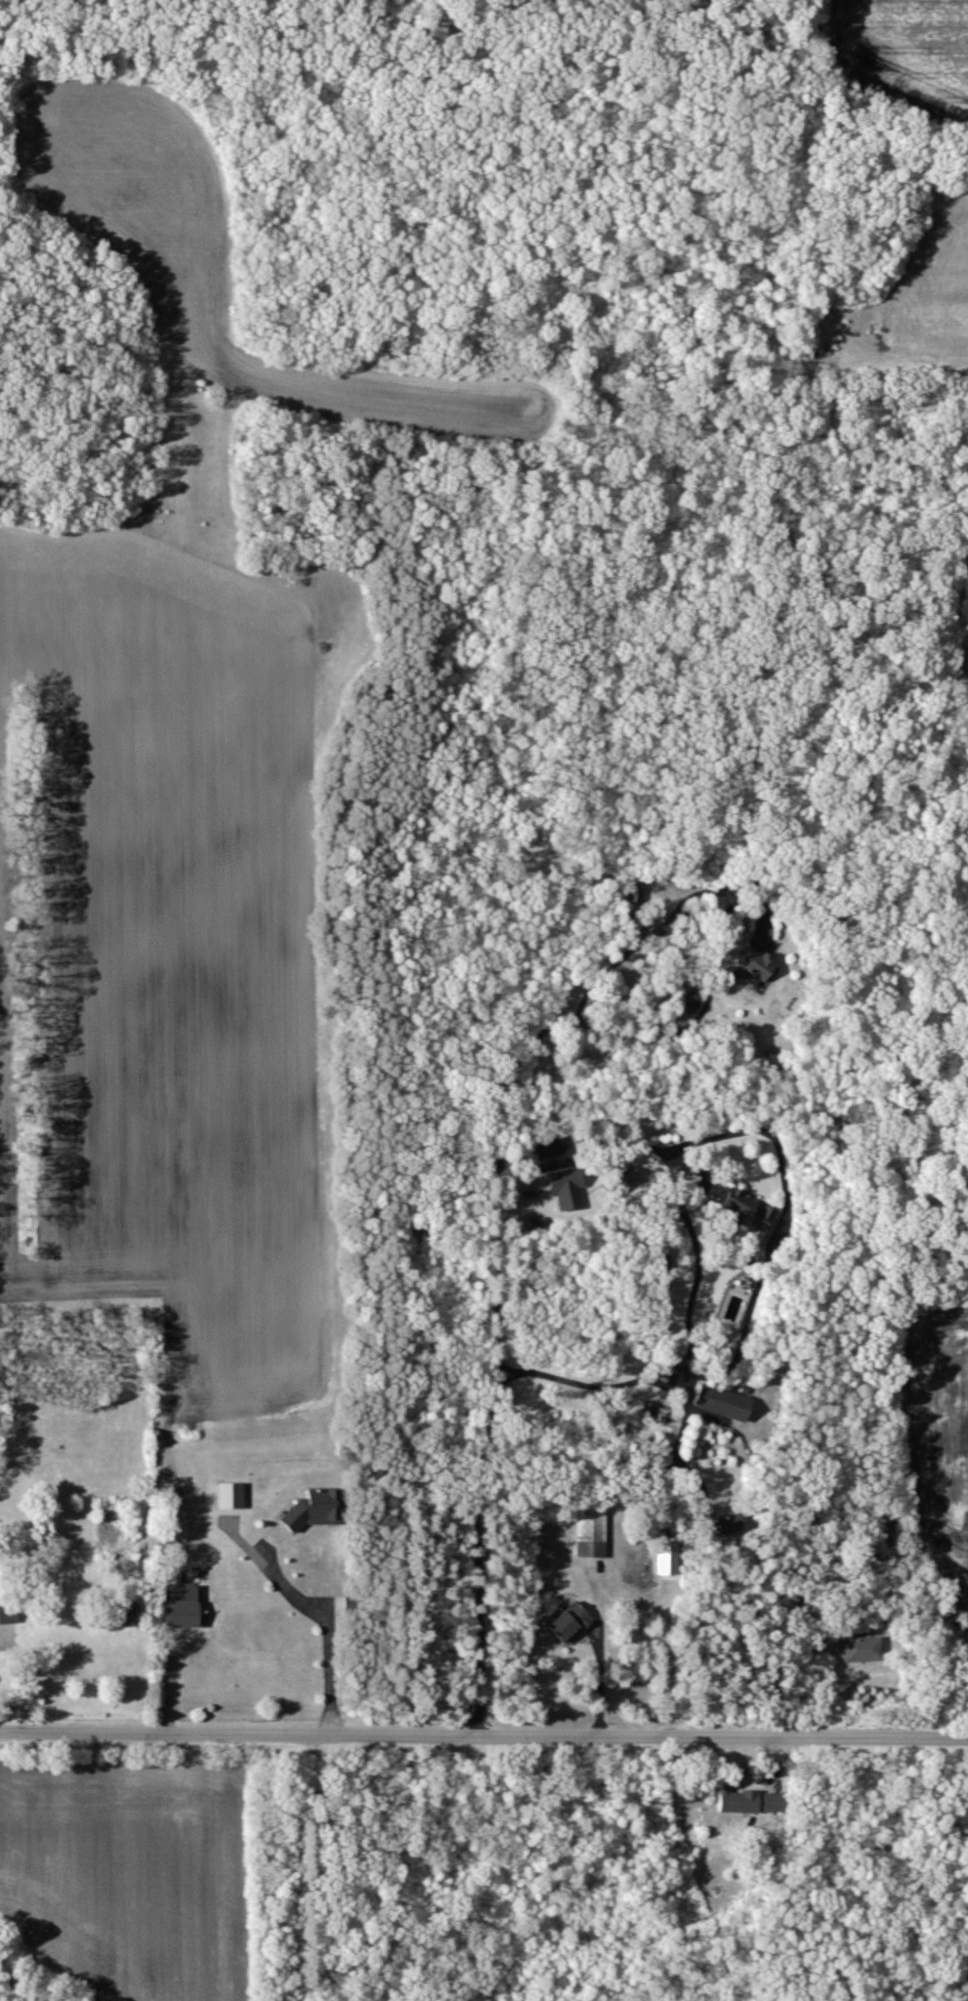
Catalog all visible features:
road: (725, 891)
building: (635, 896)
road: (956, 932)
building: (757, 967)
road: (542, 1146)
road: (879, 1155)
building: (568, 1190)
building: (749, 1211)
road: (779, 1228)
building: (724, 1404)
road: (484, 1468)
building: (231, 1497)
building: (314, 1510)
building: (725, 1525)
building: (592, 1536)
building: (668, 1558)
road: (629, 1596)
building: (182, 1607)
building: (9, 1615)
building: (571, 1624)
road: (325, 1628)
building: (863, 1650)
road: (484, 1733)
building: (739, 1802)
building: (774, 1803)

